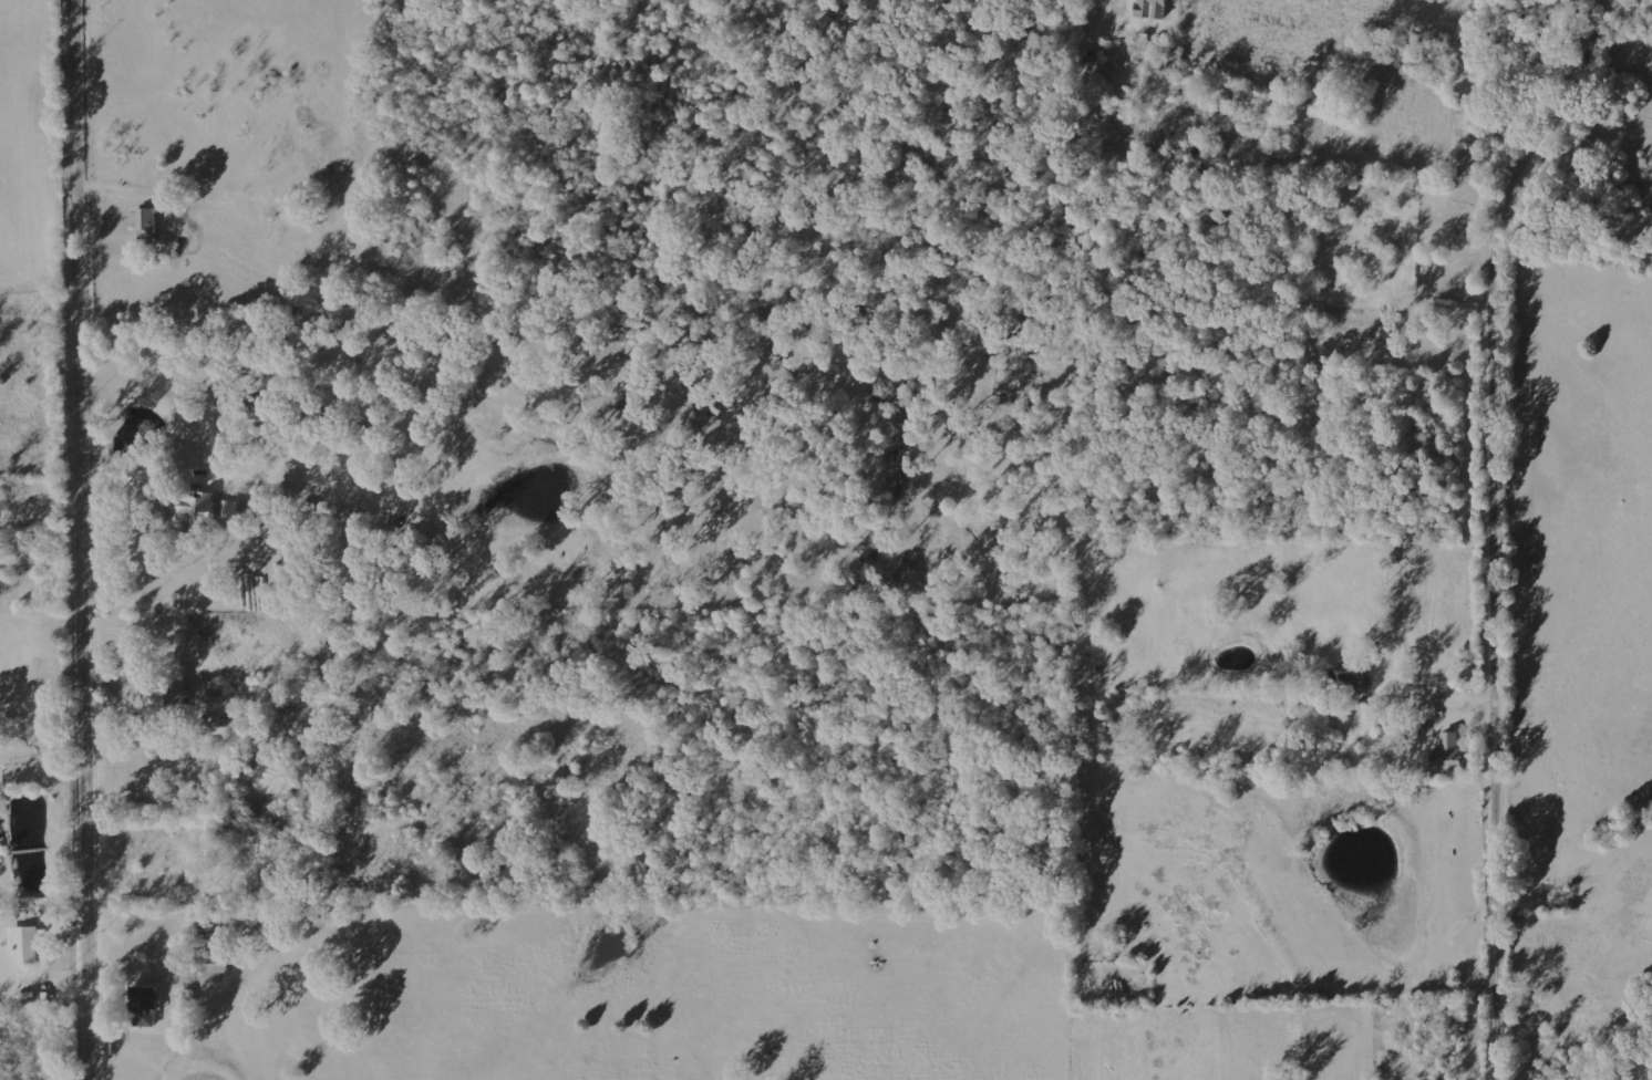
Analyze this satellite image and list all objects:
building: (1152, 9)
building: (145, 222)
building: (231, 510)
building: (196, 515)
road: (1504, 527)
road: (80, 540)
building: (1353, 677)
building: (1448, 756)
building: (25, 944)
building: (215, 965)
building: (146, 1006)

